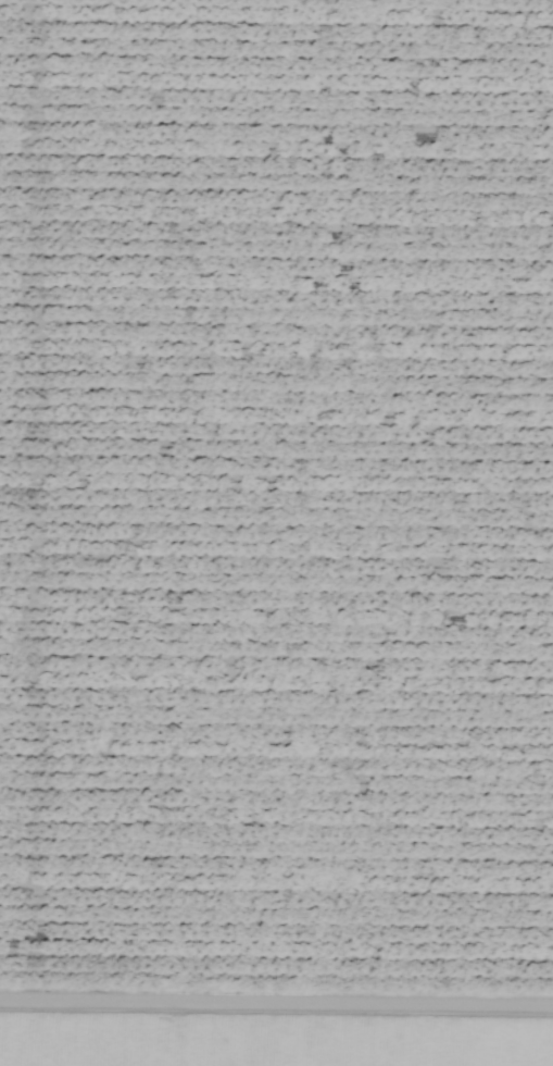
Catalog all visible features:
road: (276, 940)
crop: (275, 1016)

